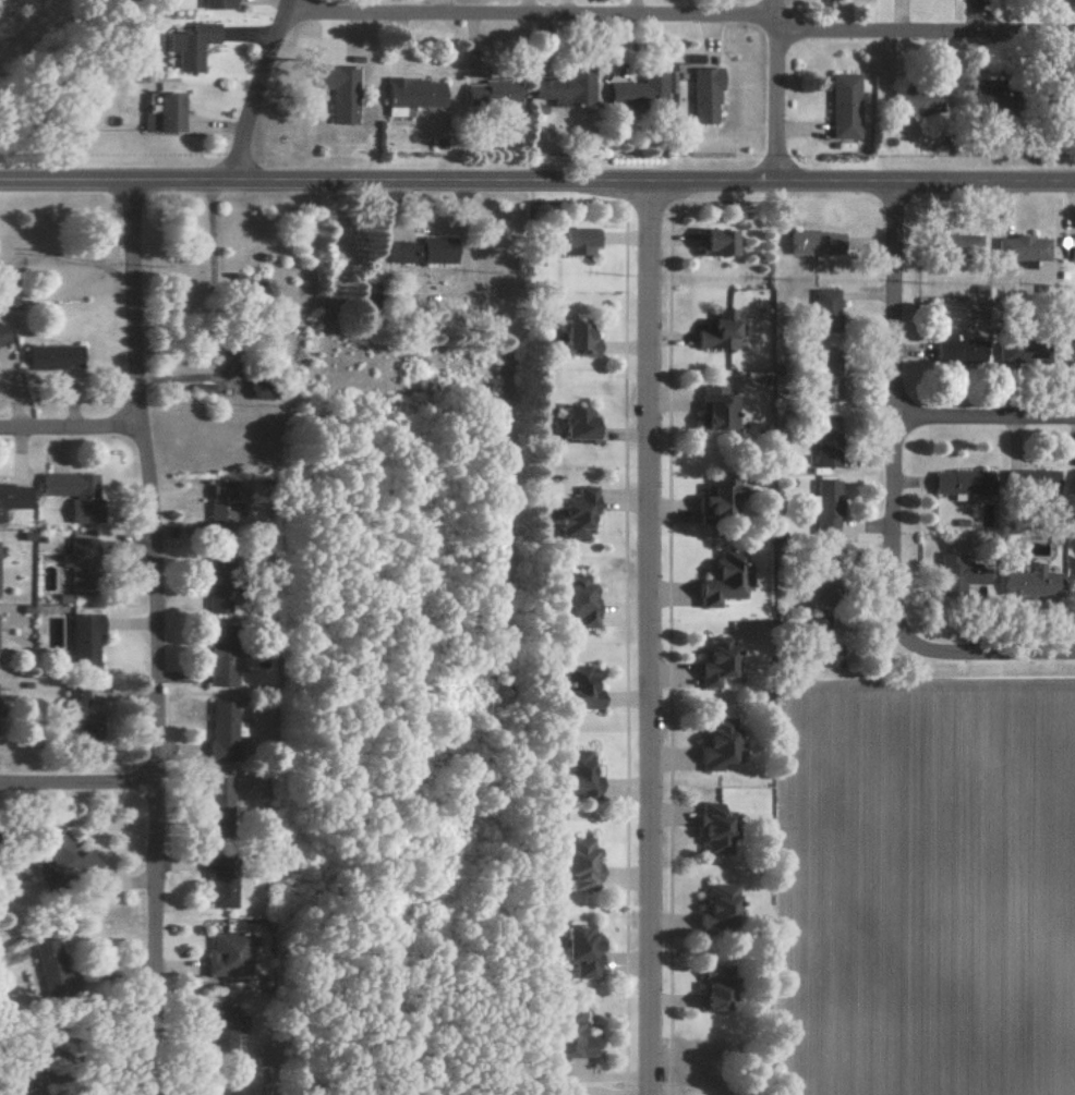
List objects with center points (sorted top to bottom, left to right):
building: (210, 4)
road: (528, 12)
road: (922, 32)
building: (183, 46)
building: (687, 63)
building: (561, 87)
road: (256, 88)
road: (772, 88)
building: (636, 90)
building: (333, 92)
building: (486, 93)
building: (407, 95)
building: (701, 96)
building: (917, 101)
building: (841, 106)
building: (157, 113)
road: (537, 181)
building: (573, 241)
building: (713, 242)
building: (813, 242)
building: (956, 243)
building: (1020, 247)
building: (1071, 247)
building: (419, 251)
building: (823, 306)
building: (716, 331)
building: (576, 339)
building: (0, 341)
building: (957, 348)
building: (1072, 351)
building: (1022, 352)
building: (48, 356)
building: (824, 374)
building: (256, 392)
building: (714, 409)
road: (892, 409)
road: (983, 419)
building: (575, 423)
road: (70, 427)
building: (825, 440)
building: (1032, 480)
building: (1073, 480)
building: (961, 482)
building: (69, 494)
building: (11, 496)
building: (718, 499)
building: (214, 506)
building: (824, 507)
building: (573, 514)
building: (75, 565)
building: (722, 581)
building: (1074, 583)
building: (576, 600)
road: (158, 637)
building: (77, 638)
road: (649, 638)
road: (983, 654)
building: (715, 661)
building: (214, 667)
building: (577, 686)
building: (70, 711)
building: (214, 729)
building: (715, 745)
building: (571, 774)
road: (78, 781)
building: (212, 791)
building: (713, 829)
building: (60, 859)
building: (576, 863)
building: (215, 880)
building: (717, 907)
building: (578, 950)
building: (222, 956)
building: (44, 963)
building: (715, 994)
building: (216, 1031)
building: (569, 1036)
building: (22, 1086)

